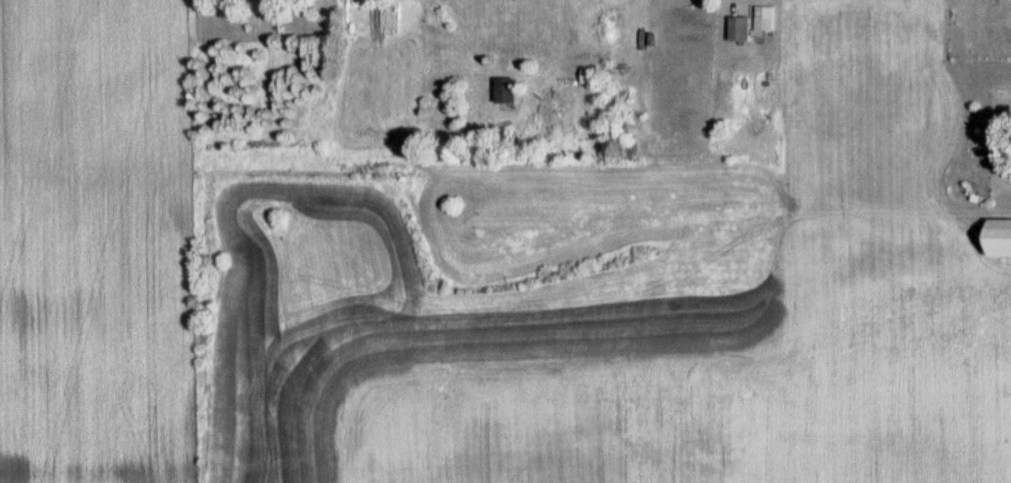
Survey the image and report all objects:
building: (754, 23)
building: (593, 74)
building: (510, 90)
building: (1002, 238)

